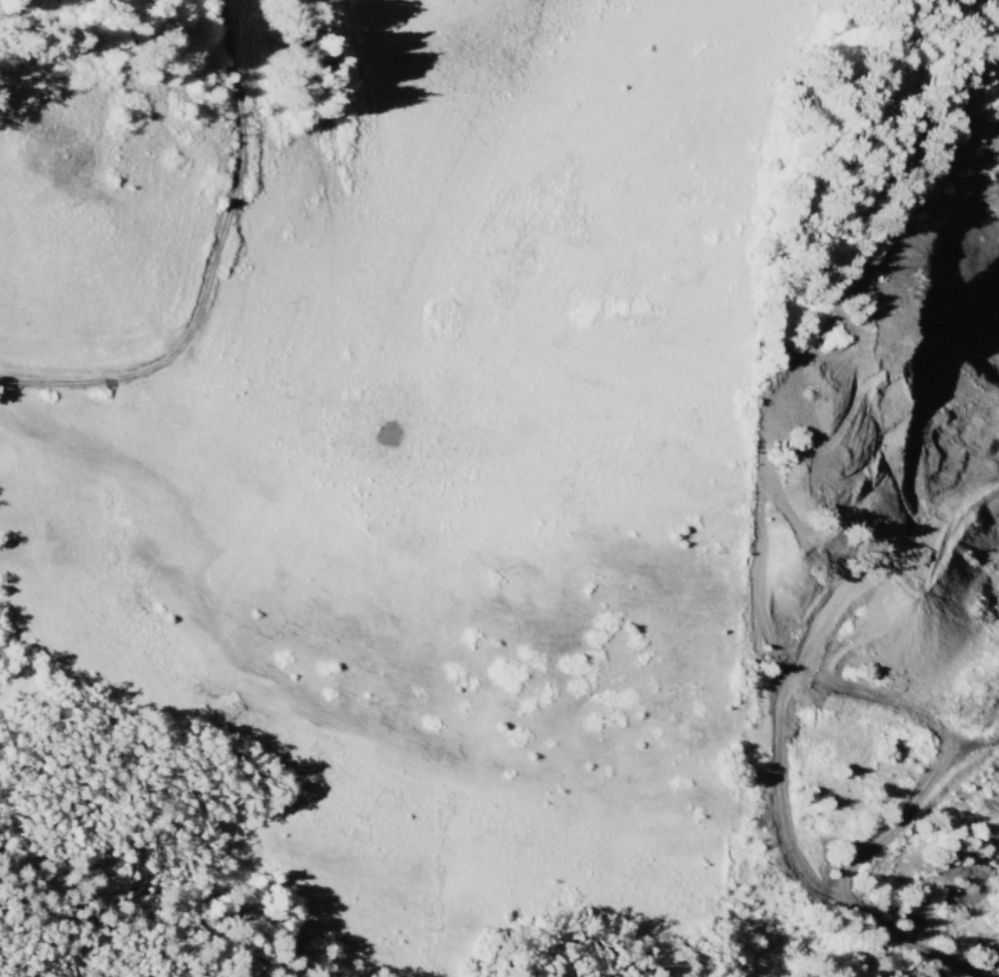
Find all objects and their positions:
road: (163, 662)

